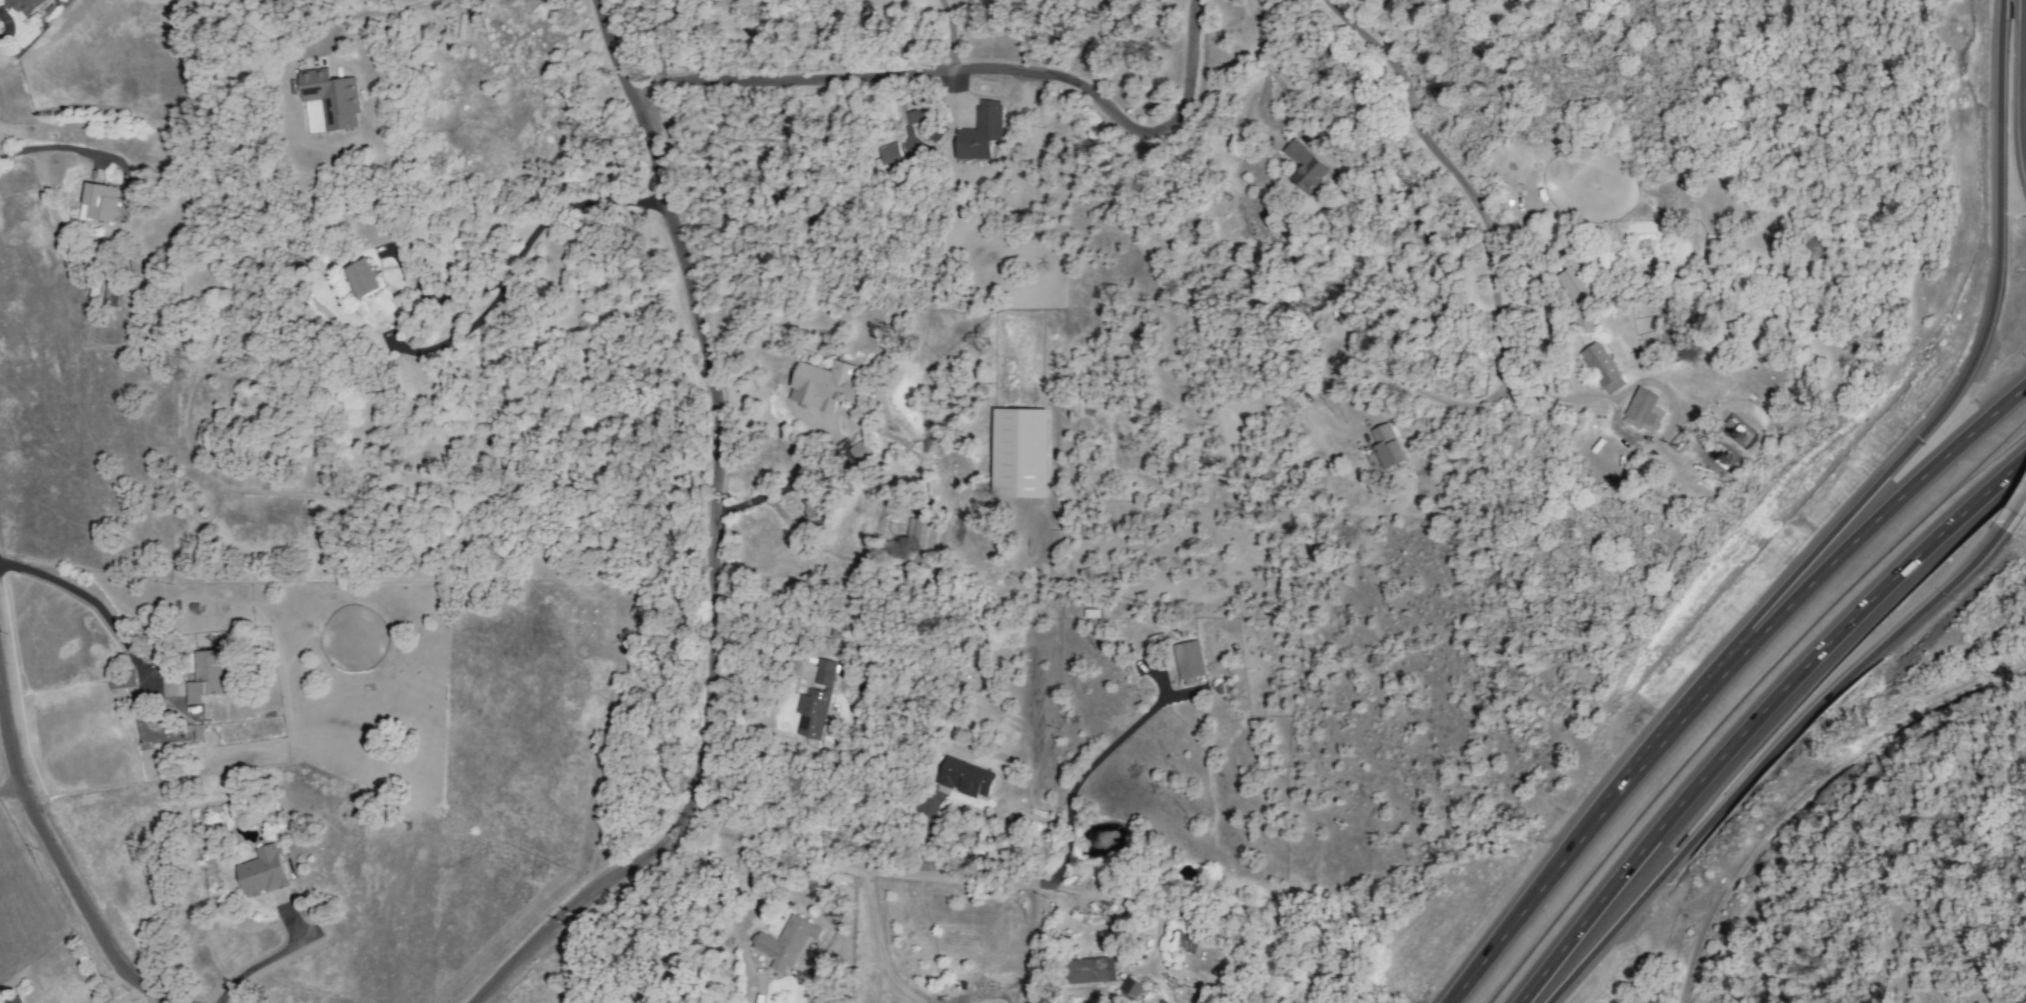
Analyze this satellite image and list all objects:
building: (1417, 2)
road: (411, 5)
building: (26, 6)
road: (6, 25)
road: (951, 34)
road: (660, 44)
road: (1261, 50)
road: (978, 70)
road: (2021, 85)
building: (331, 97)
building: (914, 116)
building: (979, 132)
road: (51, 147)
building: (888, 153)
building: (1303, 166)
road: (1454, 178)
building: (98, 202)
road: (413, 271)
building: (362, 278)
building: (109, 292)
building: (1575, 294)
road: (480, 320)
building: (1602, 368)
road: (1378, 370)
road: (1965, 374)
building: (825, 385)
building: (1641, 409)
road: (1632, 434)
building: (1383, 448)
building: (859, 452)
building: (1019, 453)
road: (803, 468)
road: (2015, 515)
building: (919, 535)
road: (808, 540)
road: (715, 541)
road: (92, 603)
building: (1188, 659)
road: (1715, 675)
building: (205, 676)
building: (122, 681)
building: (815, 702)
park: (1918, 711)
road: (1762, 715)
road: (1764, 759)
building: (964, 778)
road: (1079, 779)
railway: (1805, 785)
road: (12, 799)
road: (57, 867)
road: (862, 869)
building: (261, 873)
road: (723, 891)
building: (785, 943)
building: (1179, 943)
road: (265, 961)
building: (1091, 970)
building: (1130, 988)
road: (130, 993)
building: (12, 1000)

